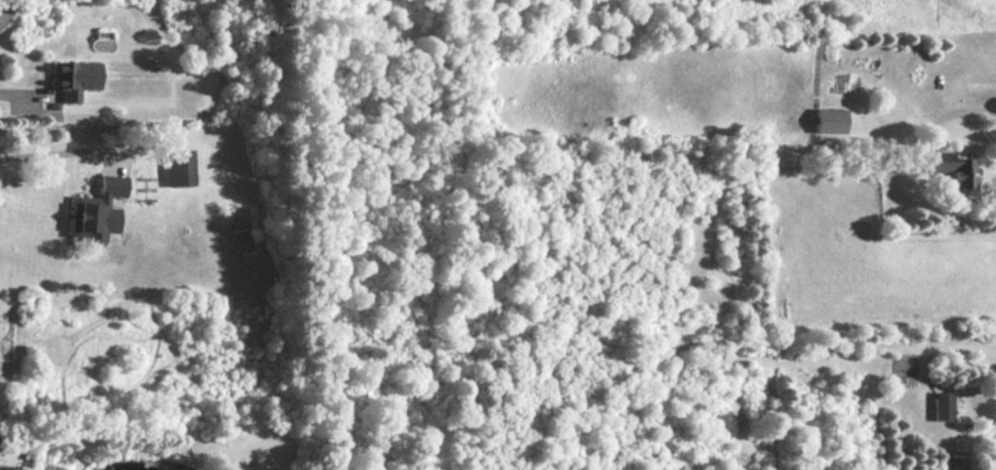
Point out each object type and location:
road: (5, 3)
building: (74, 79)
road: (968, 110)
building: (830, 122)
road: (57, 149)
building: (178, 168)
building: (954, 171)
building: (96, 212)
building: (944, 405)

